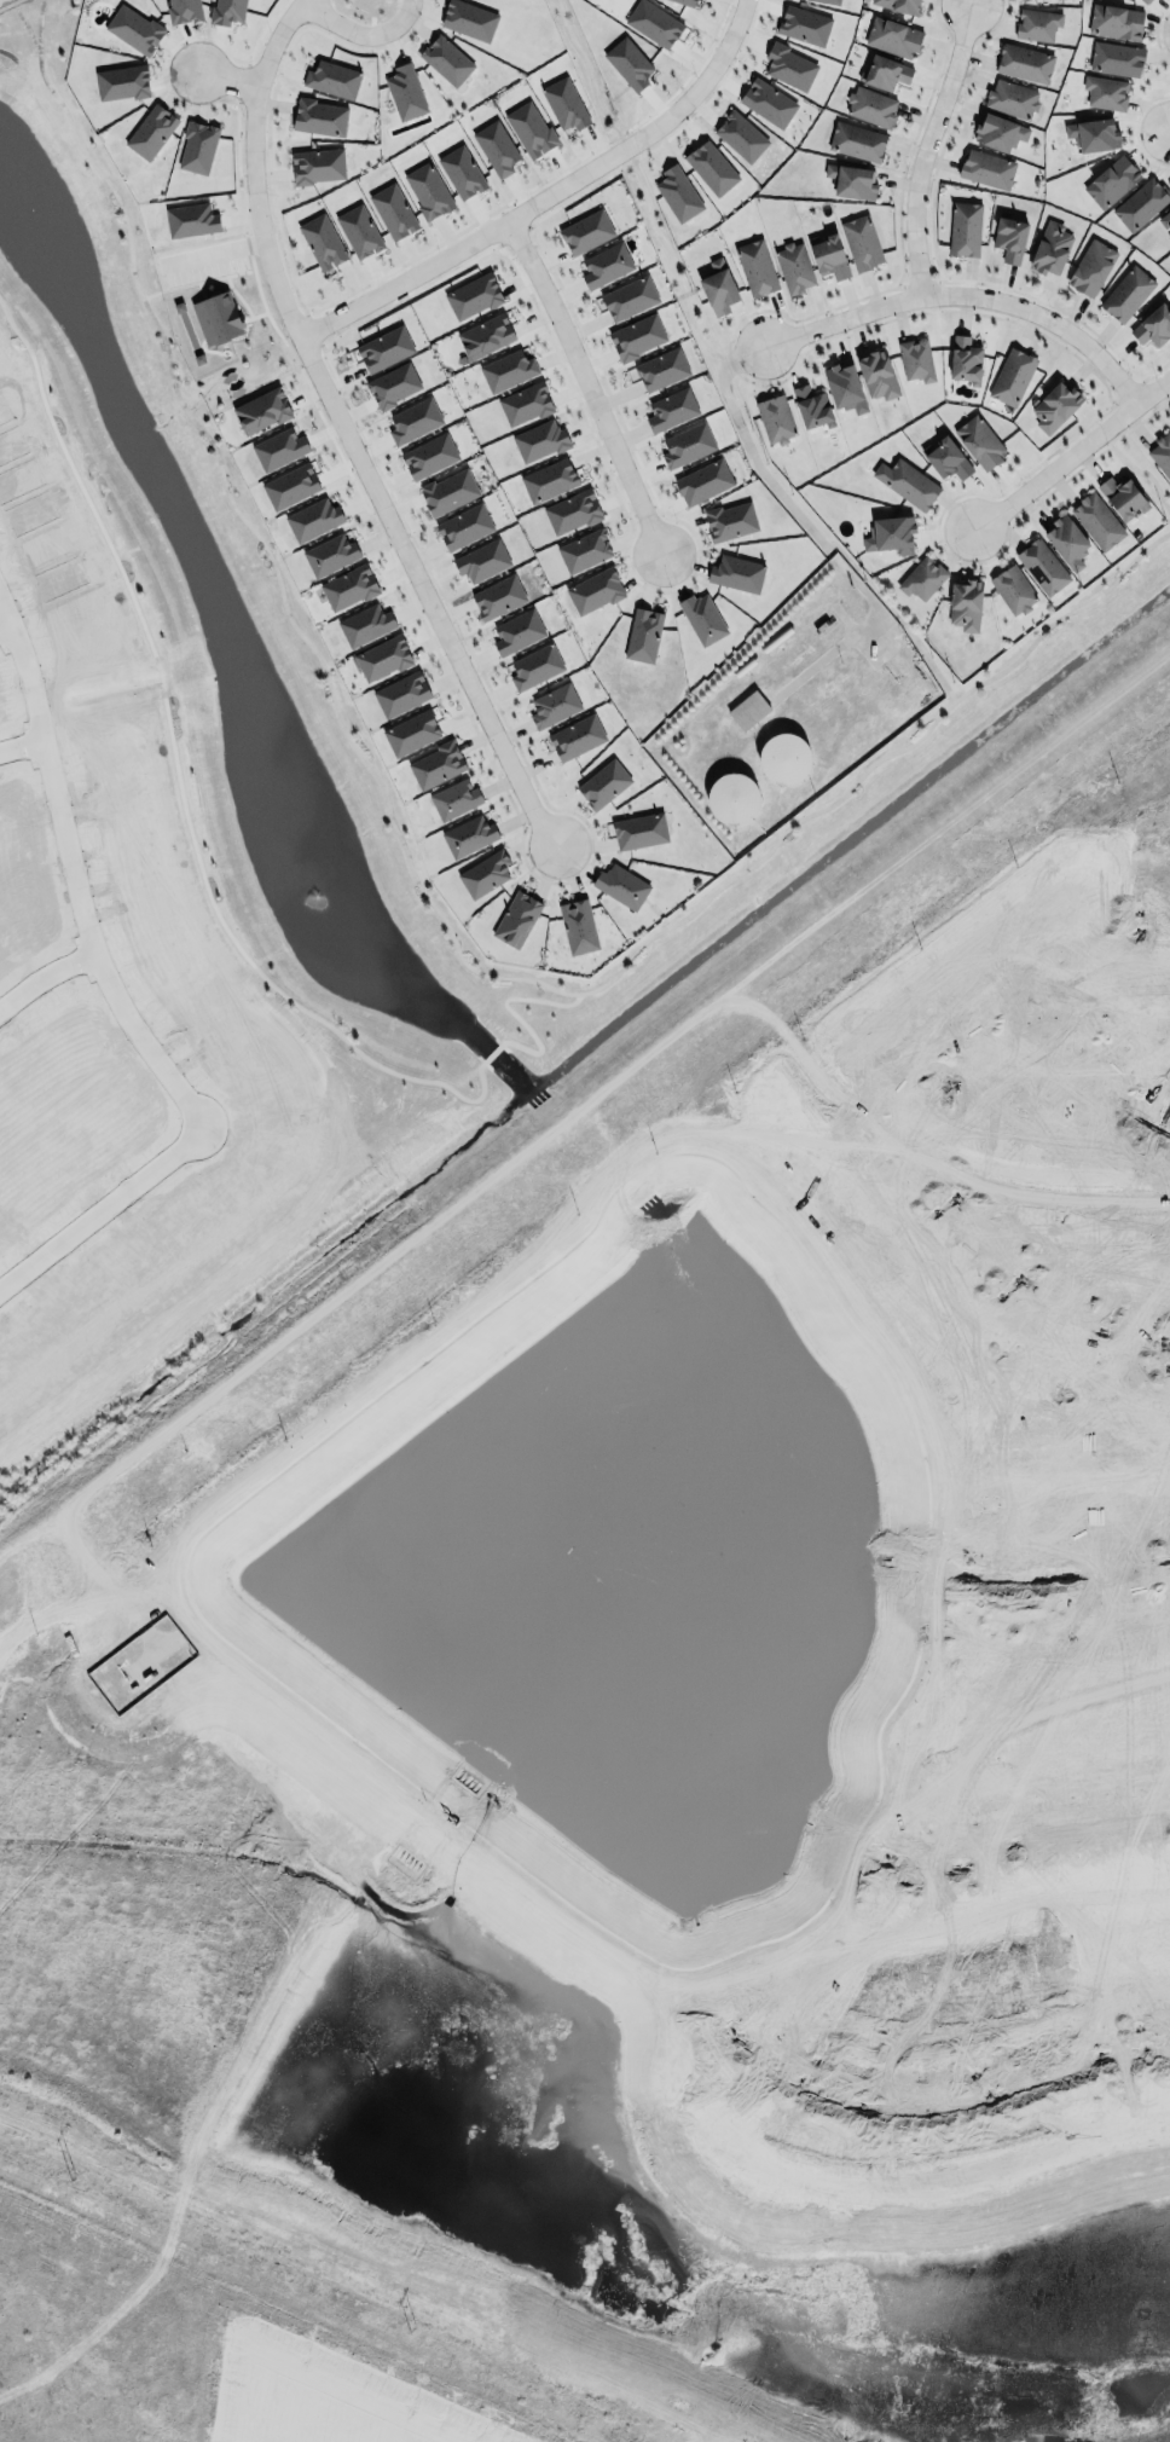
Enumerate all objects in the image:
road: (300, 1)
building: (829, 1)
building: (1023, 1)
building: (1146, 1)
road: (13, 5)
building: (899, 5)
building: (184, 11)
building: (225, 11)
building: (651, 21)
building: (1114, 21)
building: (1037, 24)
building: (804, 25)
road: (27, 28)
building: (134, 29)
road: (359, 31)
road: (1153, 31)
building: (893, 36)
building: (1116, 58)
building: (446, 59)
building: (1024, 63)
road: (586, 65)
building: (789, 66)
building: (885, 71)
road: (226, 77)
building: (332, 79)
road: (239, 81)
building: (122, 82)
building: (405, 92)
building: (1105, 92)
building: (1012, 97)
building: (768, 103)
building: (564, 104)
building: (871, 105)
building: (319, 117)
road: (1168, 127)
building: (529, 128)
road: (1134, 128)
building: (151, 131)
building: (998, 131)
building: (1093, 134)
building: (740, 135)
building: (857, 139)
building: (196, 145)
road: (625, 146)
road: (923, 146)
building: (496, 147)
building: (318, 164)
building: (986, 168)
building: (459, 173)
building: (722, 175)
building: (1111, 180)
building: (851, 181)
building: (428, 190)
building: (676, 192)
road: (548, 195)
building: (1140, 203)
fountain: (31, 210)
building: (393, 210)
building: (189, 219)
building: (1164, 220)
building: (966, 228)
building: (359, 231)
building: (584, 231)
road: (514, 233)
building: (1169, 236)
building: (1009, 238)
building: (322, 241)
building: (862, 242)
road: (253, 243)
building: (1050, 248)
building: (828, 255)
road: (931, 261)
parking lot: (201, 262)
road: (672, 264)
building: (606, 265)
building: (755, 266)
building: (794, 267)
building: (1090, 267)
road: (921, 280)
road: (193, 282)
building: (718, 288)
road: (966, 291)
building: (1126, 293)
road: (346, 294)
road: (238, 296)
building: (473, 296)
building: (630, 296)
road: (943, 309)
road: (253, 316)
building: (218, 318)
building: (1152, 326)
road: (313, 328)
building: (633, 335)
building: (485, 336)
building: (383, 349)
road: (309, 355)
building: (965, 358)
building: (916, 359)
building: (661, 369)
building: (508, 370)
building: (876, 371)
building: (1012, 375)
road: (239, 381)
building: (393, 384)
building: (844, 384)
road: (585, 387)
road: (1128, 389)
building: (525, 403)
building: (811, 406)
building: (1054, 406)
building: (671, 409)
building: (261, 411)
building: (775, 416)
building: (412, 421)
road: (347, 434)
building: (979, 439)
building: (539, 440)
building: (687, 445)
building: (277, 447)
road: (751, 447)
building: (1160, 452)
road: (1071, 453)
building: (428, 456)
building: (946, 458)
road: (1147, 471)
building: (549, 480)
building: (702, 481)
building: (909, 482)
building: (290, 486)
building: (448, 491)
building: (1122, 493)
building: (572, 511)
building: (311, 519)
building: (1096, 519)
building: (730, 521)
building: (463, 526)
road: (410, 528)
building: (891, 534)
building: (1066, 542)
building: (584, 550)
building: (329, 551)
building: (480, 560)
building: (1042, 563)
building: (736, 573)
building: (921, 575)
building: (1013, 586)
building: (348, 588)
building: (593, 591)
building: (498, 596)
building: (965, 601)
road: (894, 615)
building: (702, 618)
building: (365, 624)
building: (517, 631)
building: (643, 635)
road: (7, 640)
building: (382, 658)
building: (535, 666)
building: (401, 693)
building: (552, 704)
building: (748, 710)
building: (411, 733)
building: (575, 735)
road: (23, 756)
building: (783, 758)
building: (436, 765)
road: (53, 780)
road: (189, 780)
building: (603, 783)
building: (454, 797)
building: (732, 798)
building: (637, 829)
building: (469, 835)
building: (483, 874)
road: (416, 880)
building: (621, 886)
fountain: (319, 898)
building: (516, 919)
building: (577, 925)
road: (508, 1006)
road: (978, 1043)
road: (1118, 1043)
road: (494, 1049)
road: (1154, 1059)
road: (190, 1107)
road: (504, 1165)
road: (1009, 1269)
road: (1084, 1590)
road: (1046, 1817)
road: (963, 2085)
river: (578, 2129)
power tower: (79, 2176)
power tower: (413, 2324)
road: (47, 2376)
road: (296, 2407)

